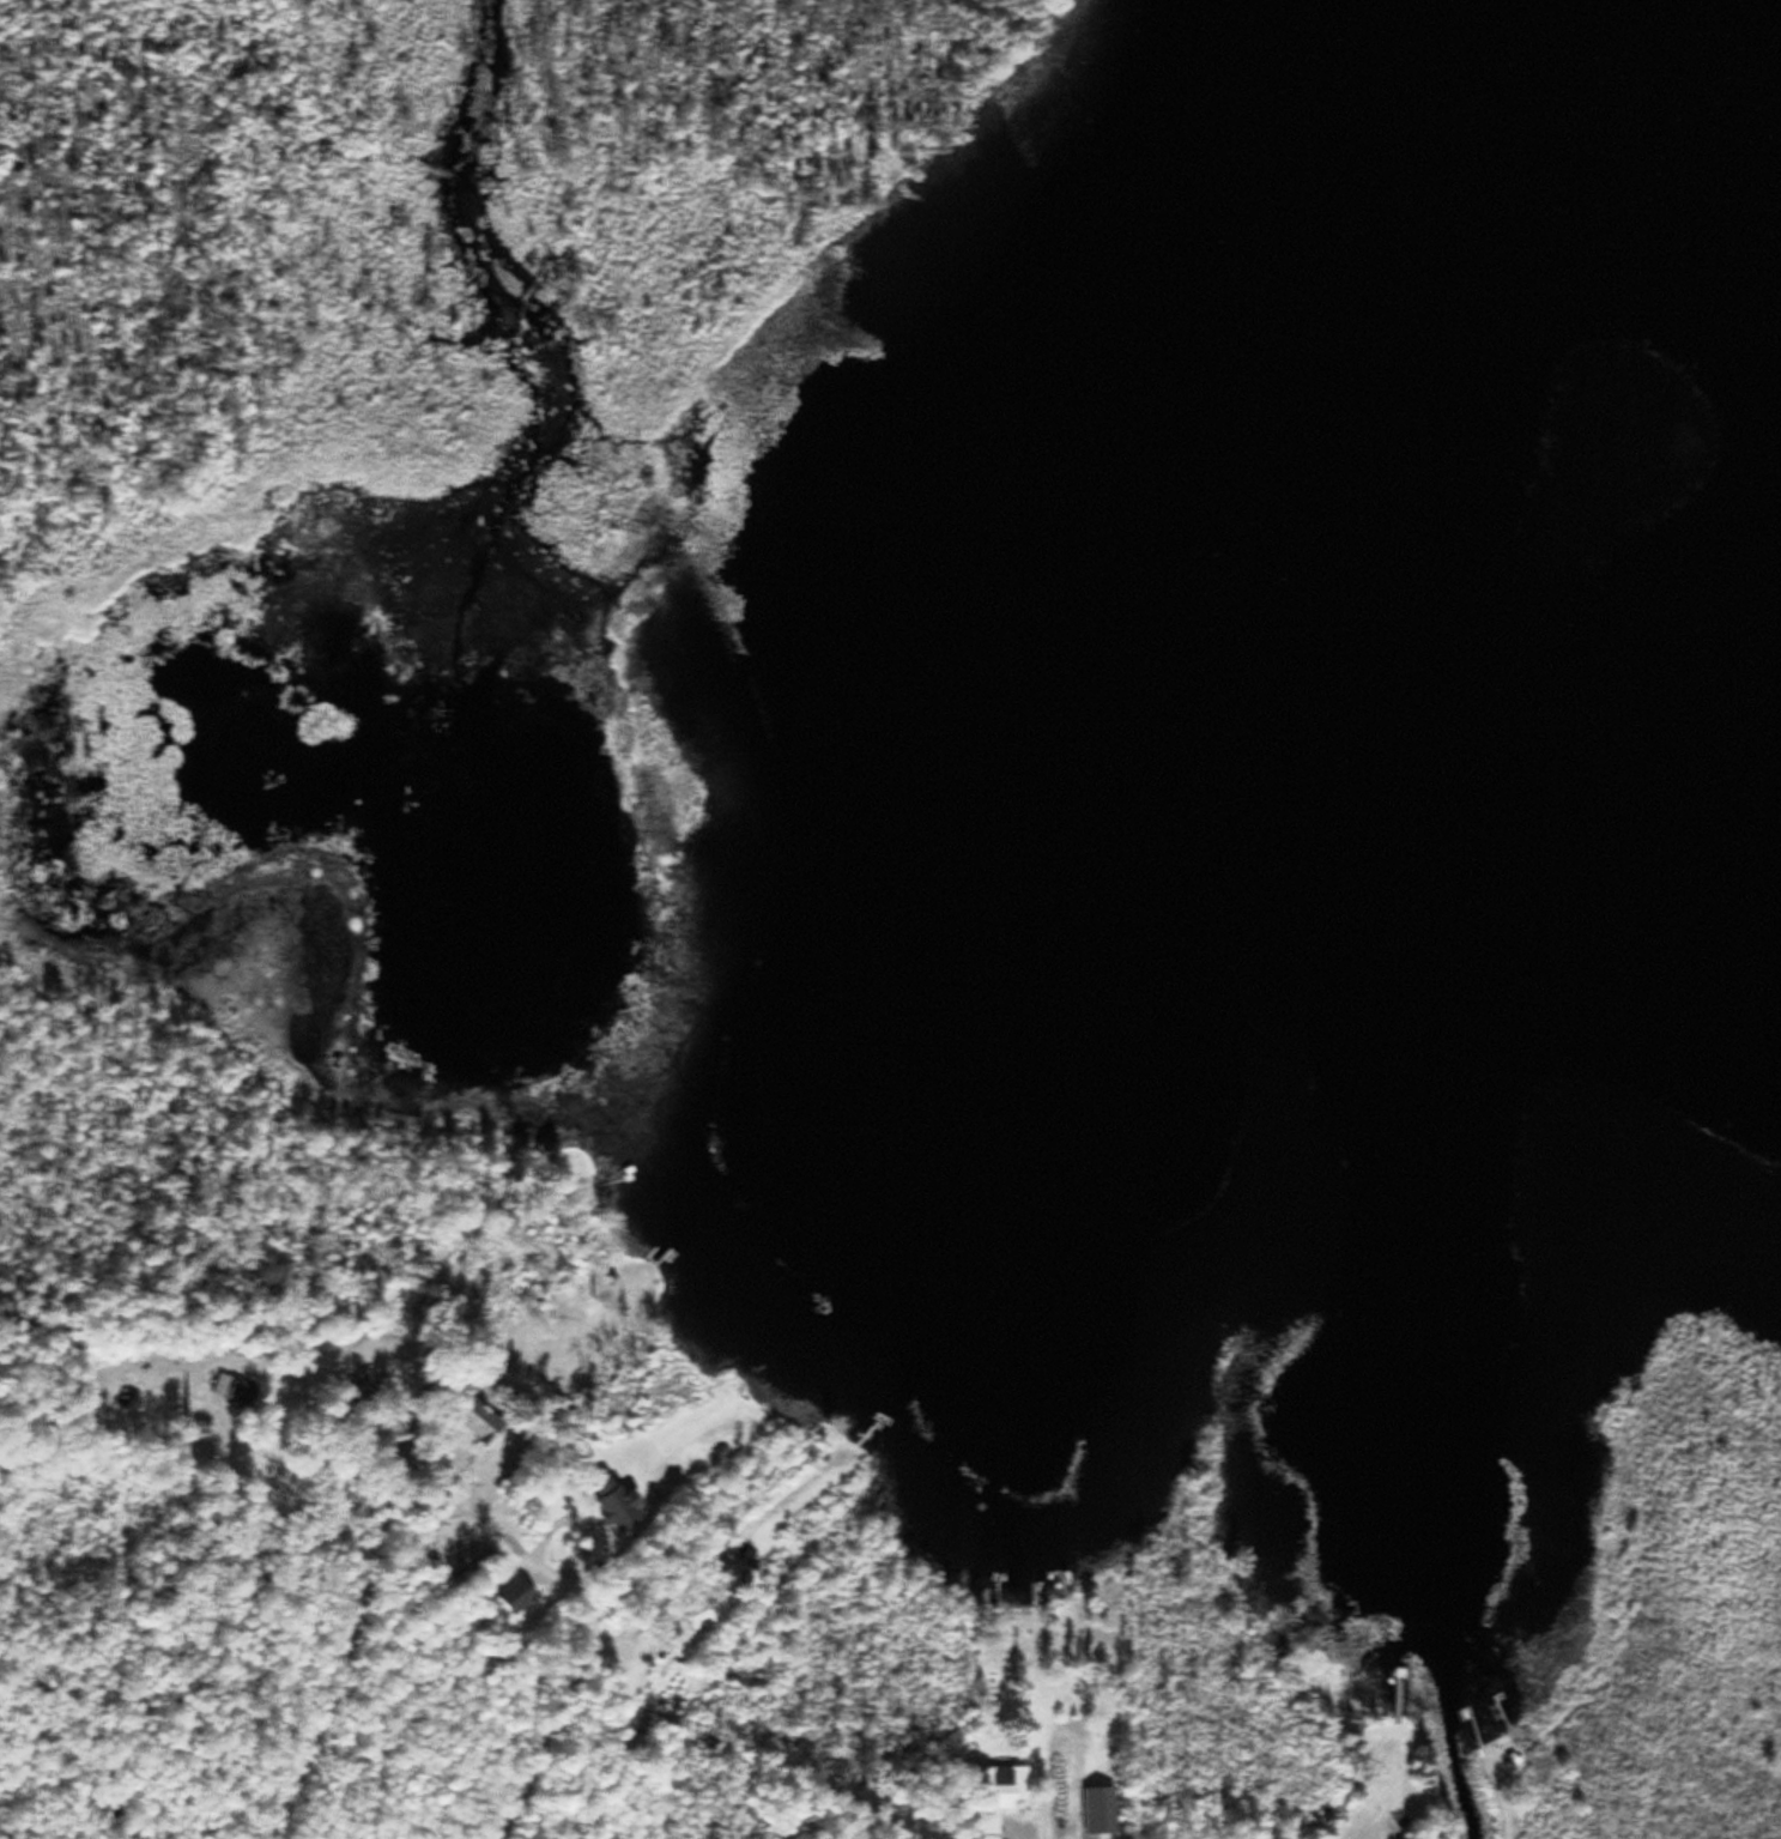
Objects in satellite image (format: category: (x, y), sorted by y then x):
building: (352, 1384)
building: (230, 1386)
building: (471, 1421)
road: (541, 1488)
building: (605, 1502)
building: (509, 1591)
road: (546, 1597)
building: (686, 1610)
road: (349, 1616)
road: (1084, 1771)
building: (988, 1792)
building: (1092, 1804)

